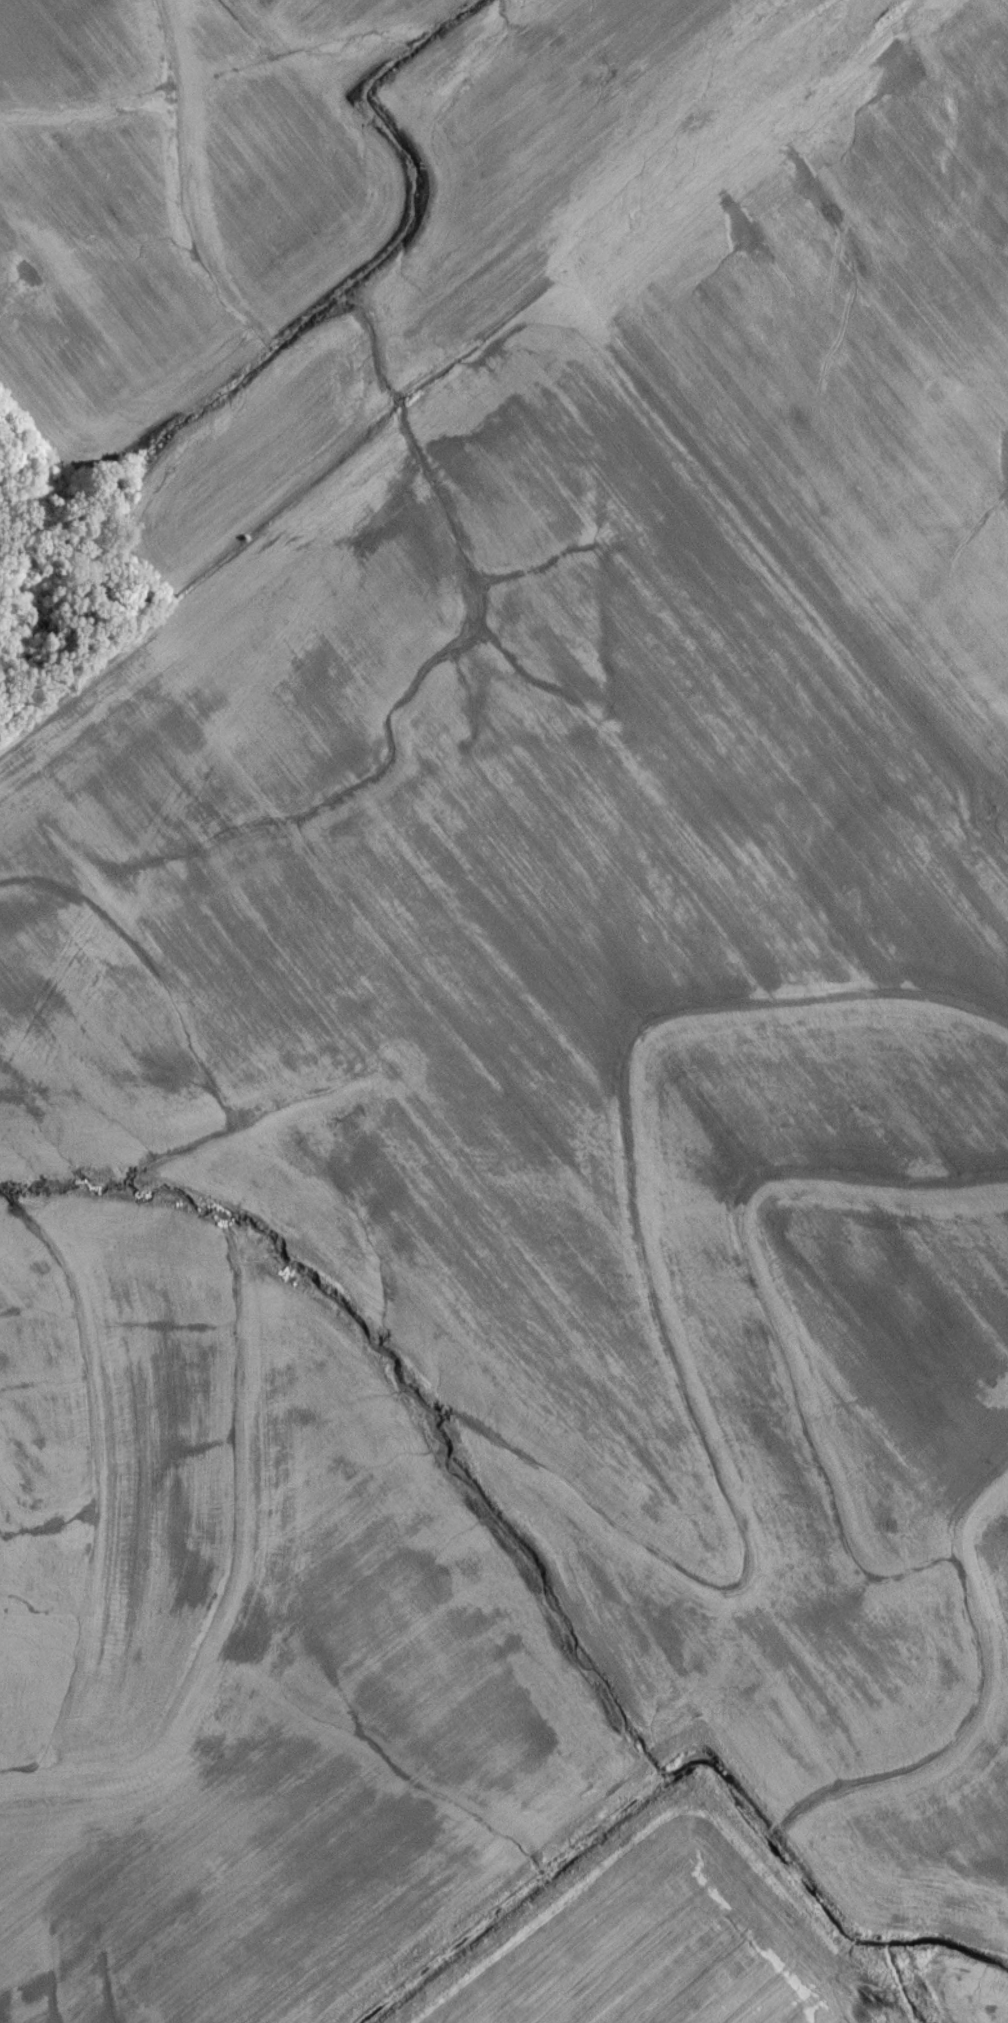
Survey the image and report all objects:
park: (6, 7)

